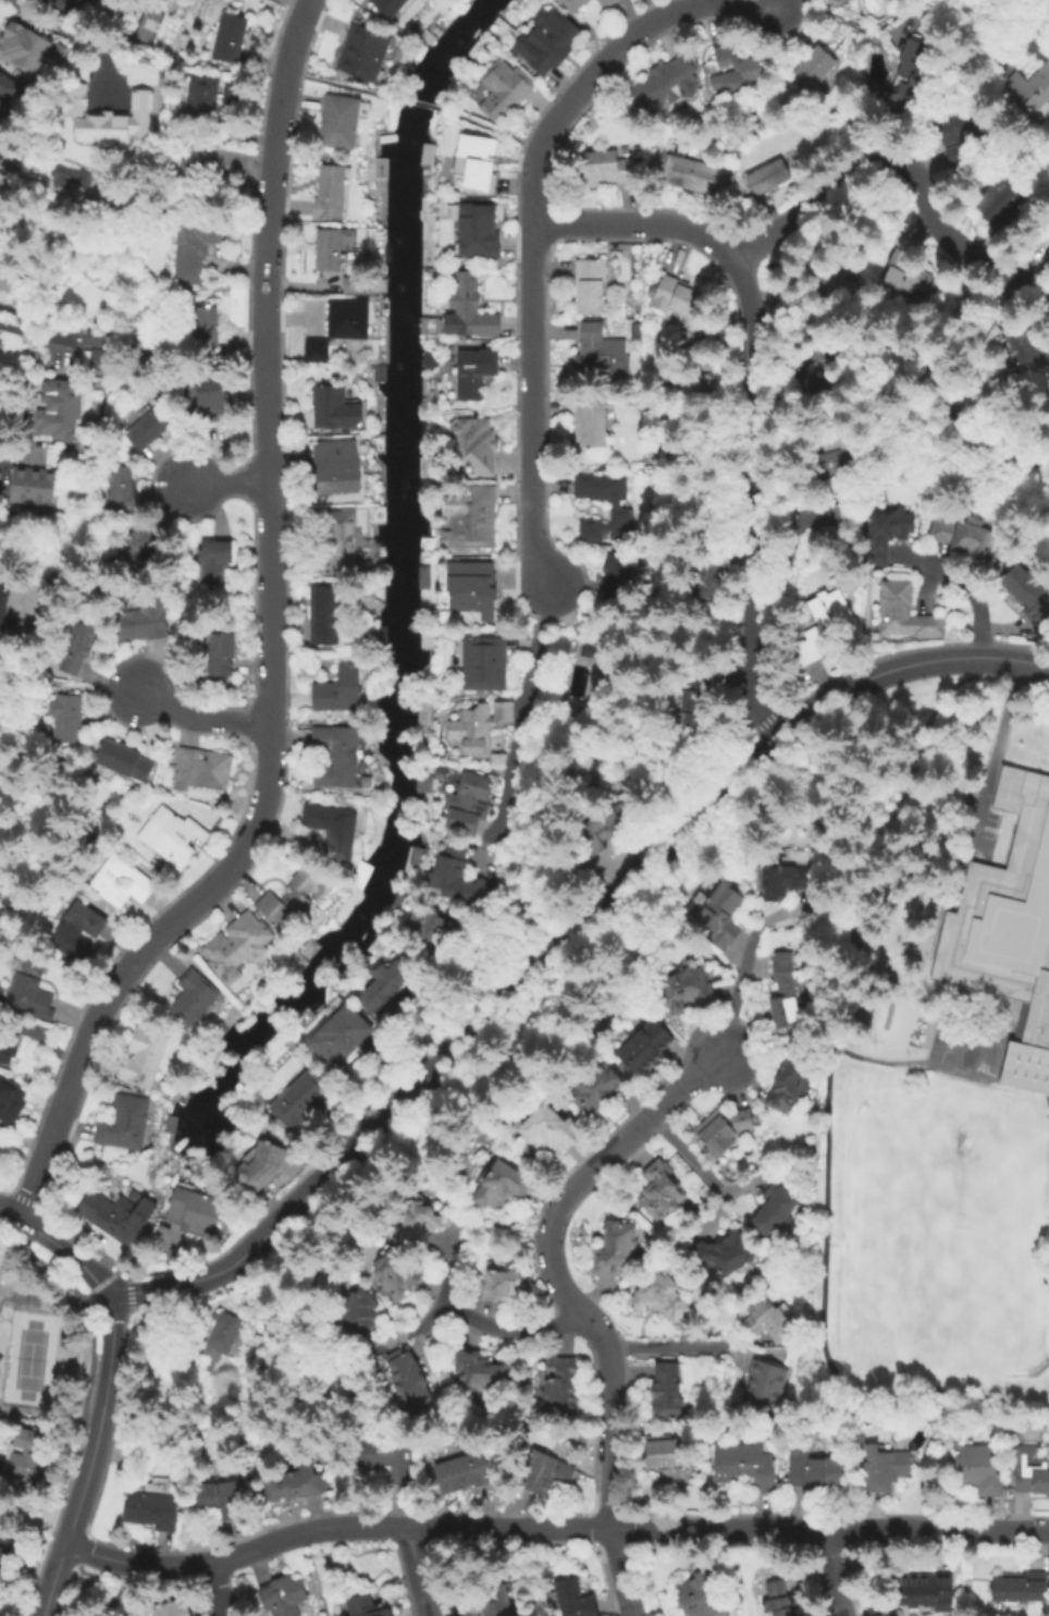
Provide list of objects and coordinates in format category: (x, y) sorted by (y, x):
building: (468, 0)
building: (831, 0)
building: (63, 1)
building: (70, 1)
building: (75, 1)
building: (839, 1)
building: (606, 2)
building: (577, 4)
building: (392, 8)
building: (501, 26)
road: (60, 30)
building: (229, 36)
building: (15, 37)
building: (546, 39)
building: (363, 51)
building: (723, 56)
building: (814, 71)
building: (906, 76)
building: (1, 78)
building: (740, 78)
road: (338, 84)
building: (666, 85)
building: (1032, 87)
building: (505, 88)
building: (202, 97)
road: (419, 103)
building: (106, 117)
building: (338, 123)
road: (490, 130)
building: (955, 134)
road: (892, 161)
building: (480, 167)
building: (606, 170)
building: (195, 174)
building: (70, 176)
building: (696, 176)
building: (770, 176)
building: (330, 194)
building: (1002, 200)
road: (531, 208)
road: (637, 223)
building: (478, 233)
building: (196, 247)
building: (334, 249)
building: (904, 277)
building: (8, 280)
building: (590, 287)
building: (679, 296)
building: (471, 307)
building: (7, 320)
building: (348, 321)
building: (203, 329)
building: (95, 338)
building: (1021, 345)
building: (316, 351)
building: (601, 355)
building: (96, 358)
building: (430, 359)
building: (476, 375)
building: (818, 376)
building: (212, 400)
building: (58, 408)
building: (335, 409)
building: (592, 424)
building: (150, 430)
road: (749, 441)
building: (381, 443)
building: (477, 445)
building: (335, 465)
building: (835, 465)
road: (229, 483)
building: (36, 488)
building: (601, 488)
building: (123, 492)
building: (377, 511)
building: (470, 516)
building: (624, 526)
building: (592, 531)
building: (887, 535)
building: (960, 535)
building: (341, 541)
building: (135, 542)
building: (425, 544)
building: (214, 562)
building: (618, 578)
building: (424, 580)
building: (711, 581)
road: (964, 584)
building: (472, 592)
building: (1027, 595)
building: (9, 600)
building: (904, 613)
building: (326, 615)
building: (144, 621)
building: (818, 628)
building: (383, 635)
building: (427, 639)
road: (272, 646)
building: (77, 648)
building: (587, 649)
building: (218, 653)
road: (1015, 658)
building: (484, 665)
building: (724, 675)
road: (1009, 682)
road: (750, 684)
building: (340, 691)
road: (521, 707)
building: (506, 713)
building: (691, 714)
road: (201, 715)
building: (65, 720)
building: (471, 732)
road: (996, 755)
building: (338, 758)
building: (122, 764)
building: (203, 772)
building: (423, 786)
building: (468, 807)
building: (602, 824)
building: (332, 828)
building: (173, 838)
building: (462, 881)
building: (122, 882)
building: (783, 882)
building: (288, 899)
building: (717, 914)
building: (424, 923)
building: (78, 932)
building: (1008, 935)
building: (236, 945)
road: (538, 967)
road: (737, 982)
building: (32, 989)
building: (686, 990)
building: (785, 992)
building: (385, 993)
building: (193, 1001)
building: (338, 1037)
building: (645, 1046)
road: (820, 1046)
building: (7, 1052)
building: (144, 1056)
building: (788, 1090)
building: (598, 1091)
building: (297, 1103)
building: (11, 1104)
road: (824, 1104)
building: (124, 1125)
building: (550, 1130)
building: (720, 1134)
road: (688, 1154)
building: (260, 1168)
building: (503, 1186)
building: (661, 1192)
building: (774, 1210)
building: (195, 1212)
building: (118, 1216)
building: (418, 1224)
park: (940, 1245)
building: (617, 1251)
building: (724, 1254)
building: (397, 1275)
building: (502, 1284)
building: (662, 1298)
road: (572, 1303)
building: (357, 1315)
building: (767, 1322)
road: (505, 1331)
building: (222, 1333)
road: (663, 1347)
park: (29, 1360)
building: (561, 1371)
building: (481, 1372)
building: (409, 1381)
building: (765, 1387)
road: (102, 1391)
building: (667, 1393)
building: (561, 1399)
building: (29, 1453)
building: (385, 1456)
building: (668, 1461)
building: (746, 1468)
building: (884, 1468)
building: (1031, 1469)
building: (815, 1470)
building: (978, 1470)
building: (547, 1472)
building: (465, 1474)
building: (293, 1486)
building: (224, 1502)
building: (153, 1511)
road: (551, 1526)
building: (3, 1541)
road: (420, 1570)
road: (835, 1572)
road: (219, 1588)
building: (1019, 1588)
building: (922, 1589)
building: (704, 1595)
building: (284, 1596)
building: (1, 1597)
building: (573, 1599)
building: (778, 1600)
building: (493, 1605)
building: (366, 1606)
building: (170, 1609)

